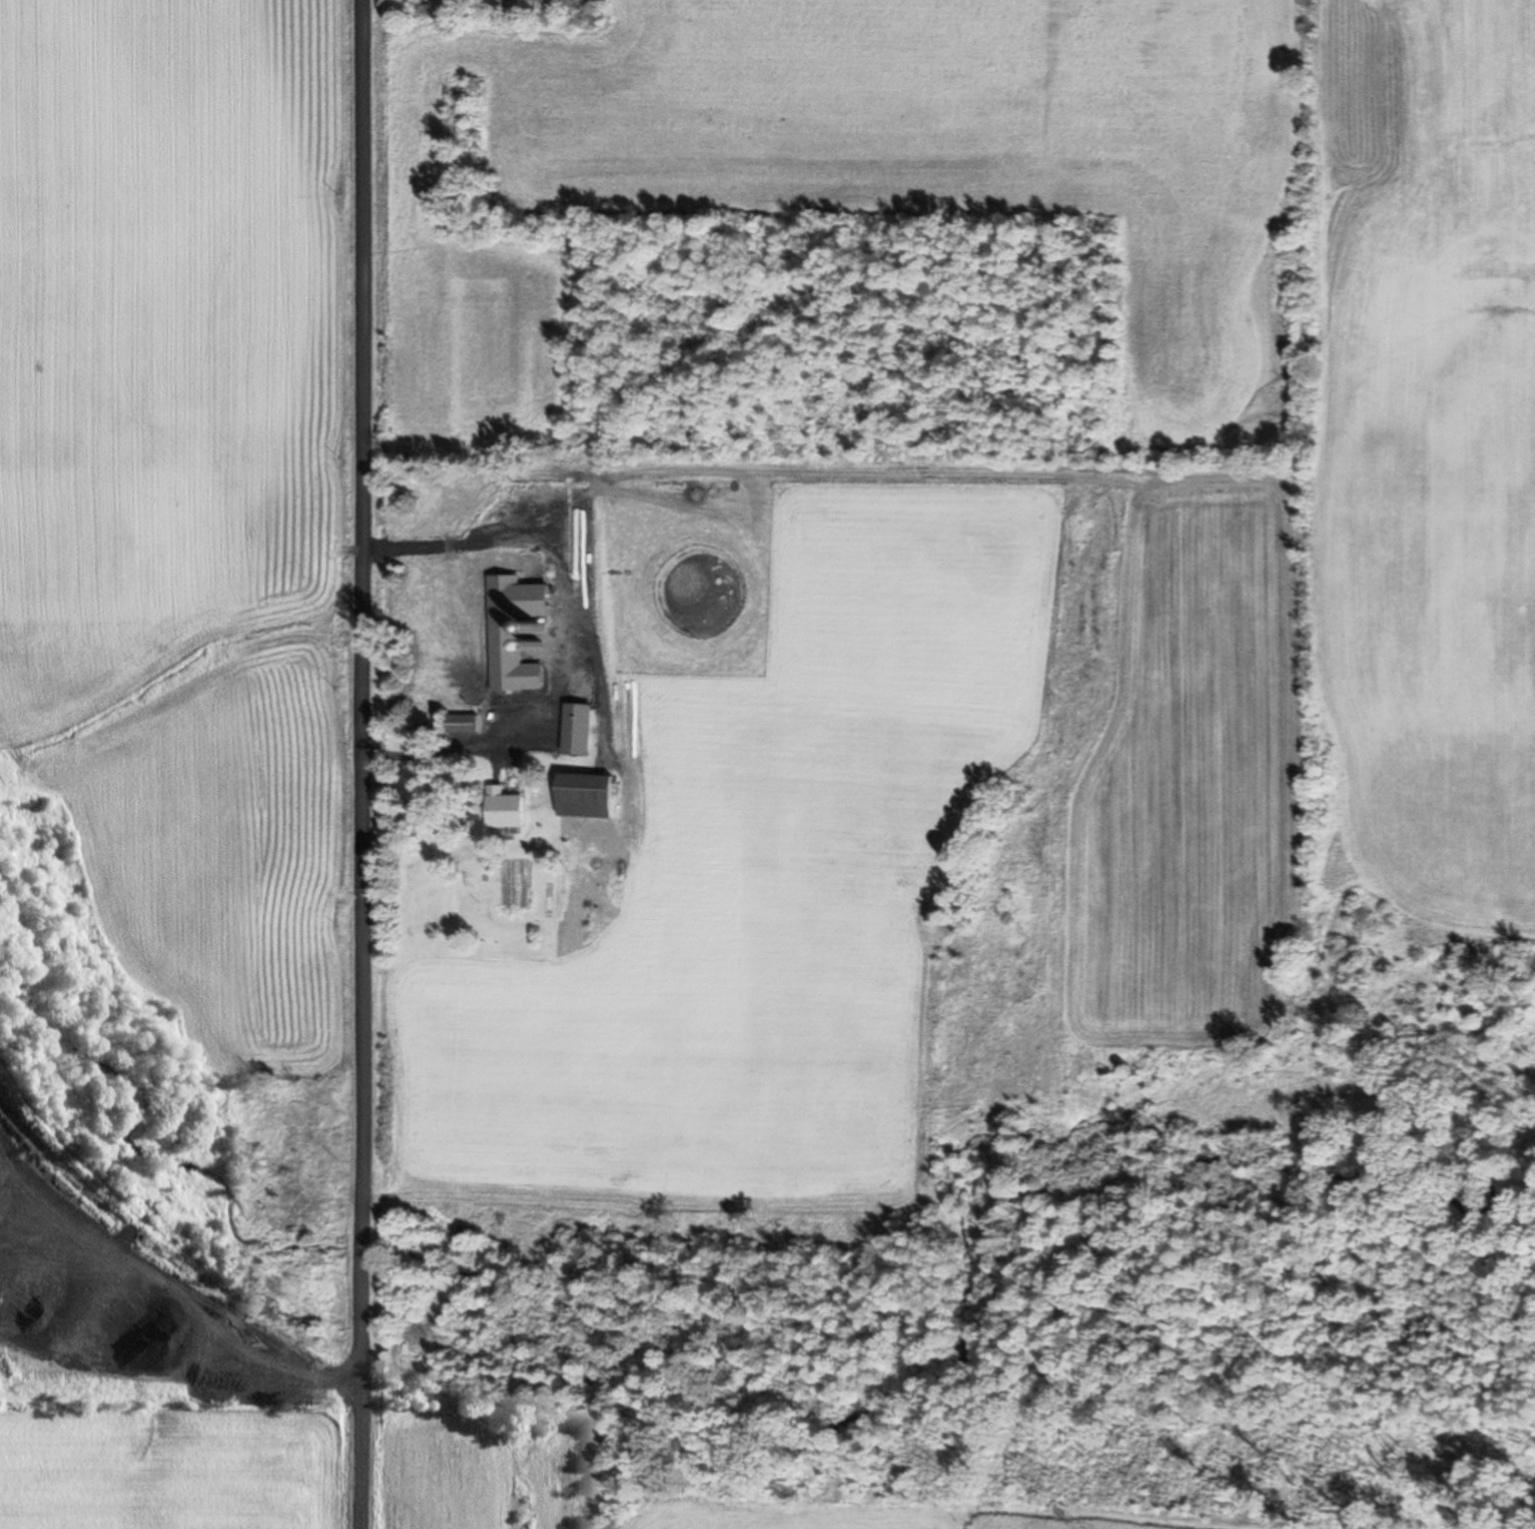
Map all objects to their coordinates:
building: (580, 631)
road: (586, 632)
building: (501, 665)
building: (465, 724)
road: (361, 764)
building: (588, 795)
building: (507, 808)

